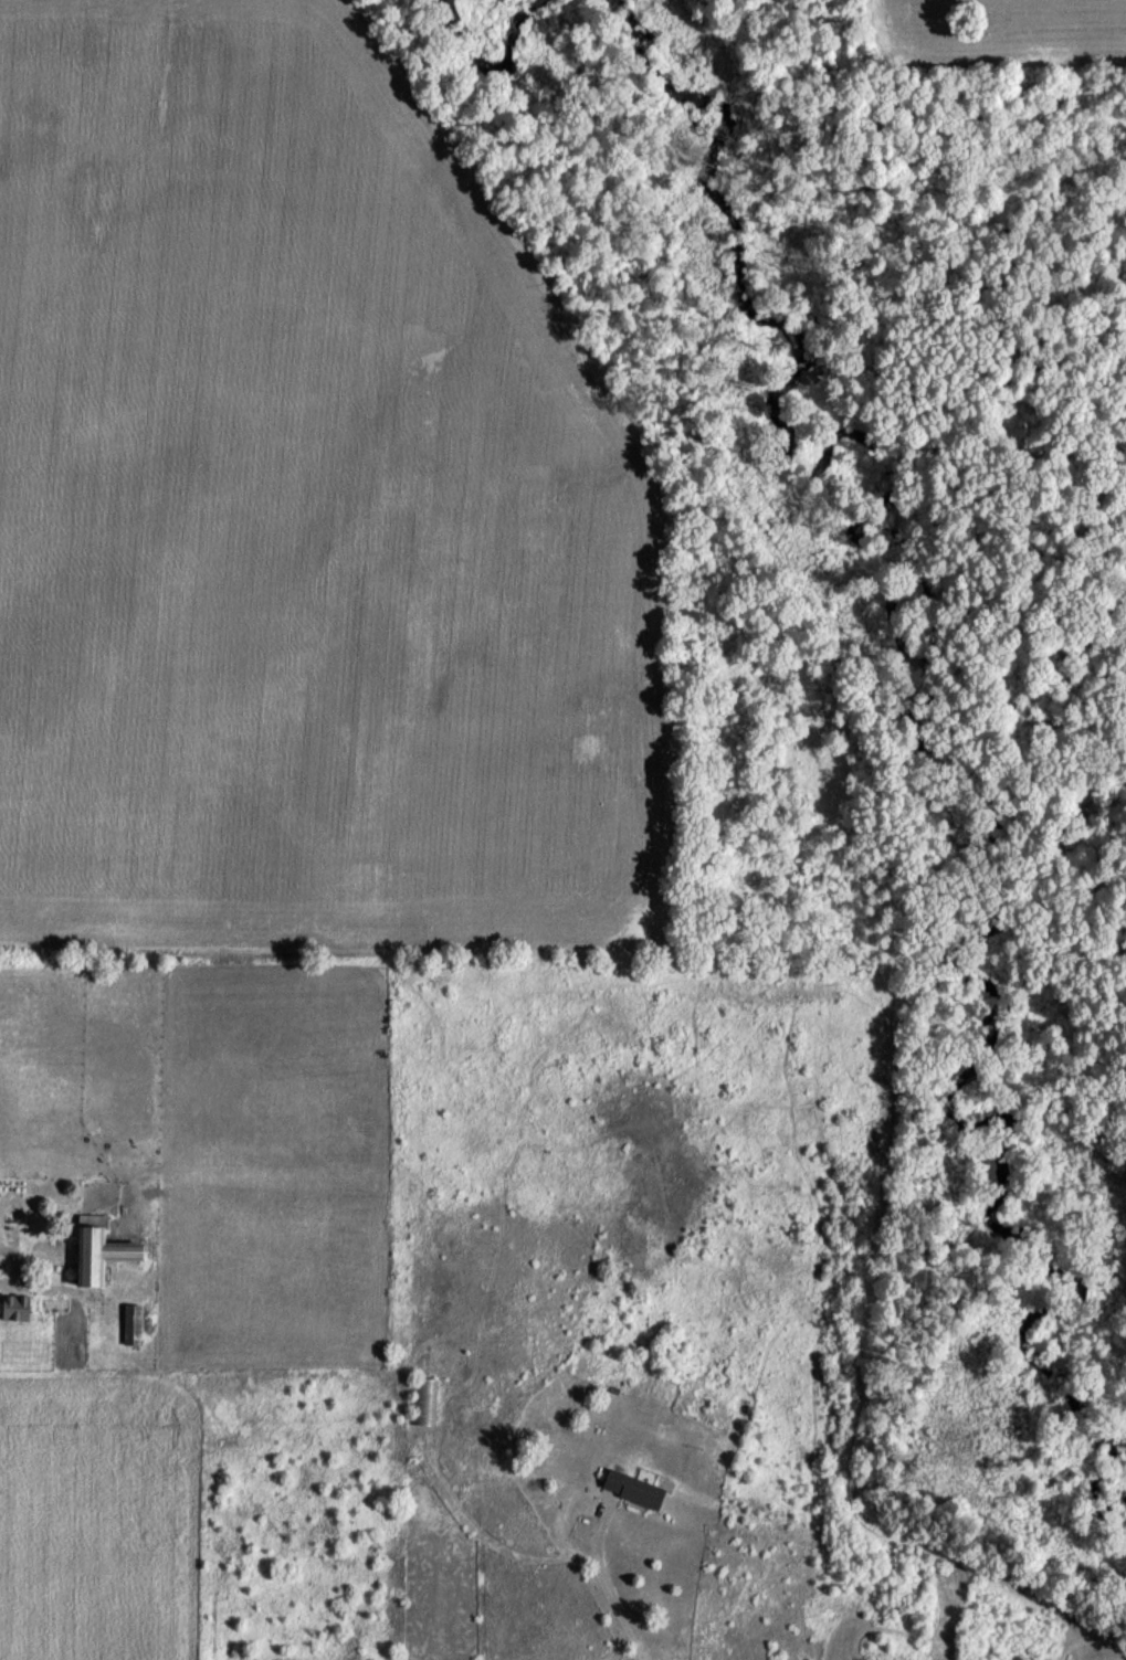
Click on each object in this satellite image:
building: (93, 1257)
road: (19, 1289)
building: (129, 1329)
building: (423, 1407)
building: (629, 1493)
road: (606, 1586)

